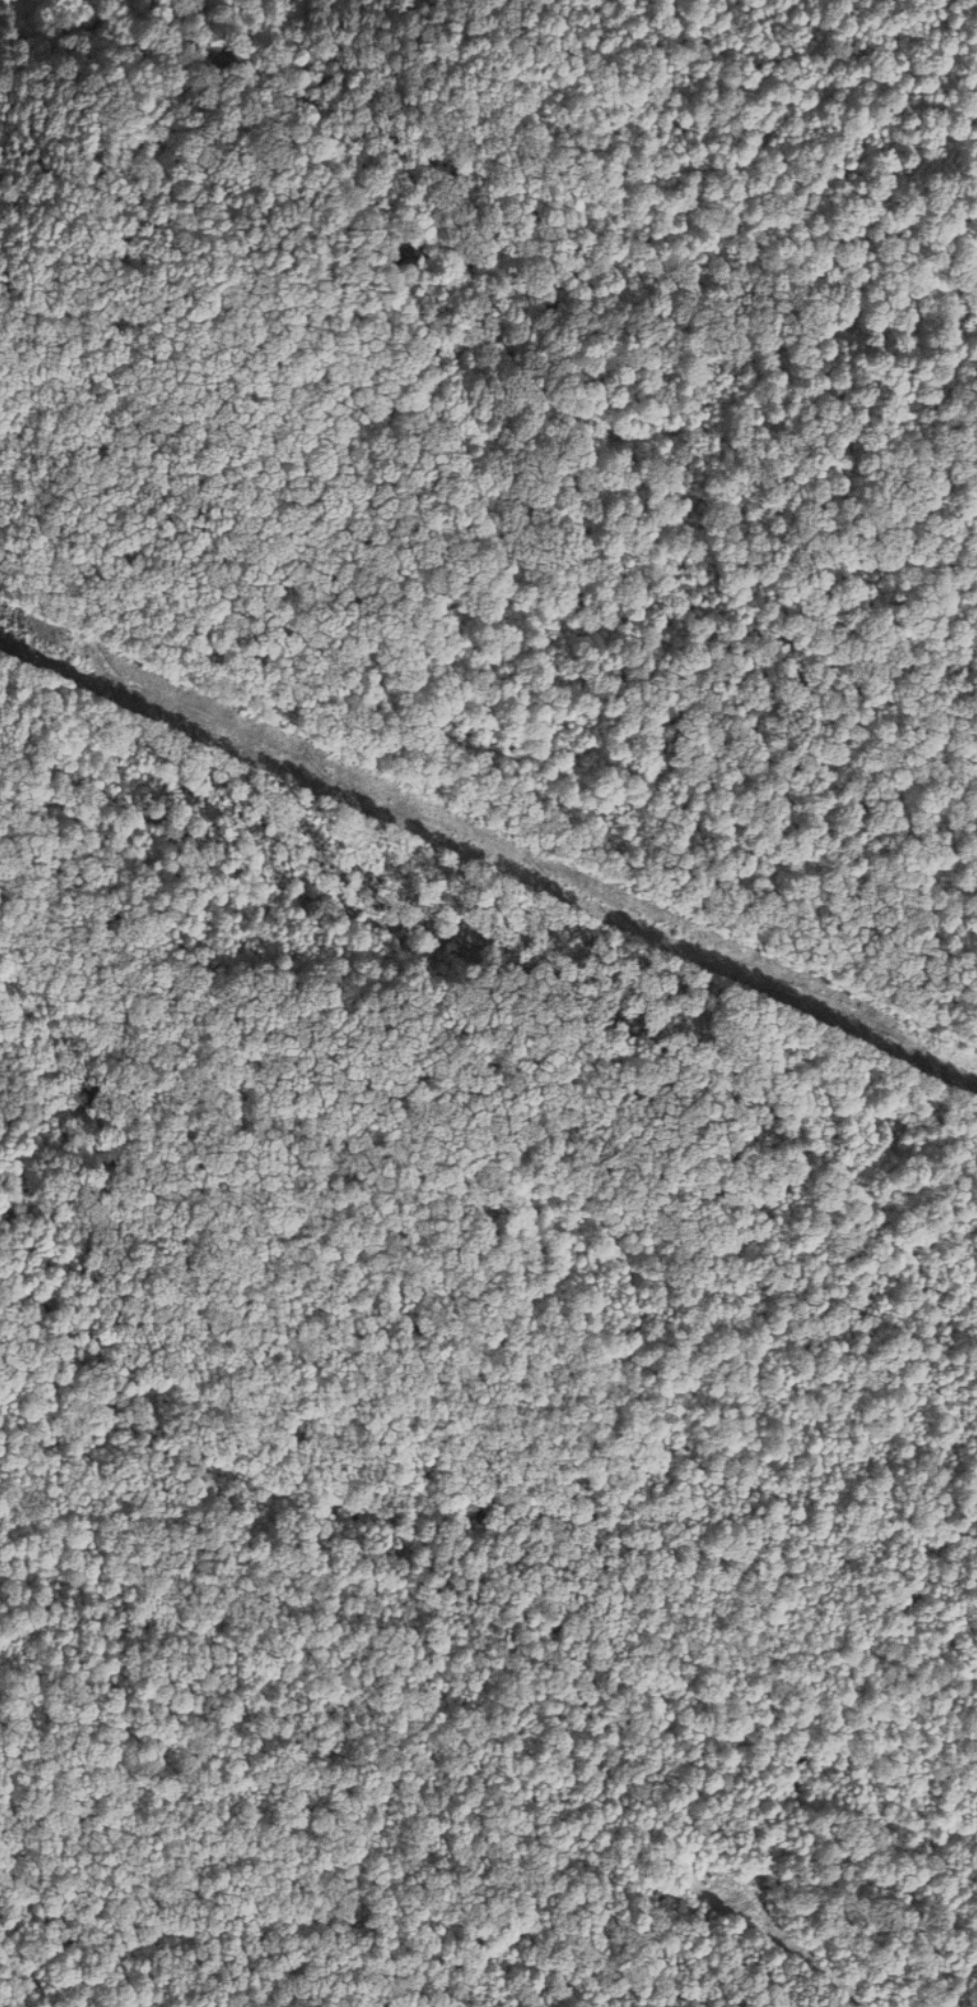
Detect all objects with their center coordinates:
road: (612, 1811)

